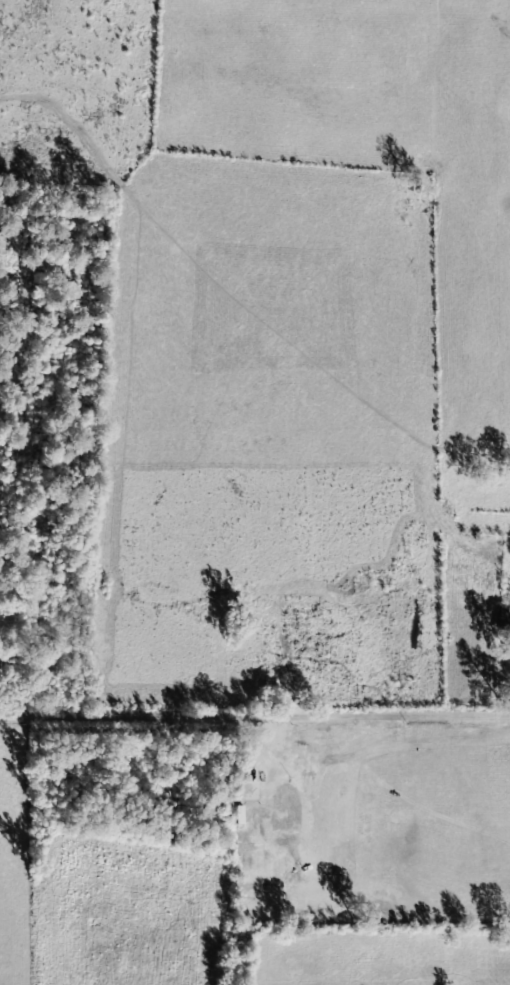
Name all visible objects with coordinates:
building: (499, 618)
road: (254, 728)
building: (272, 824)

